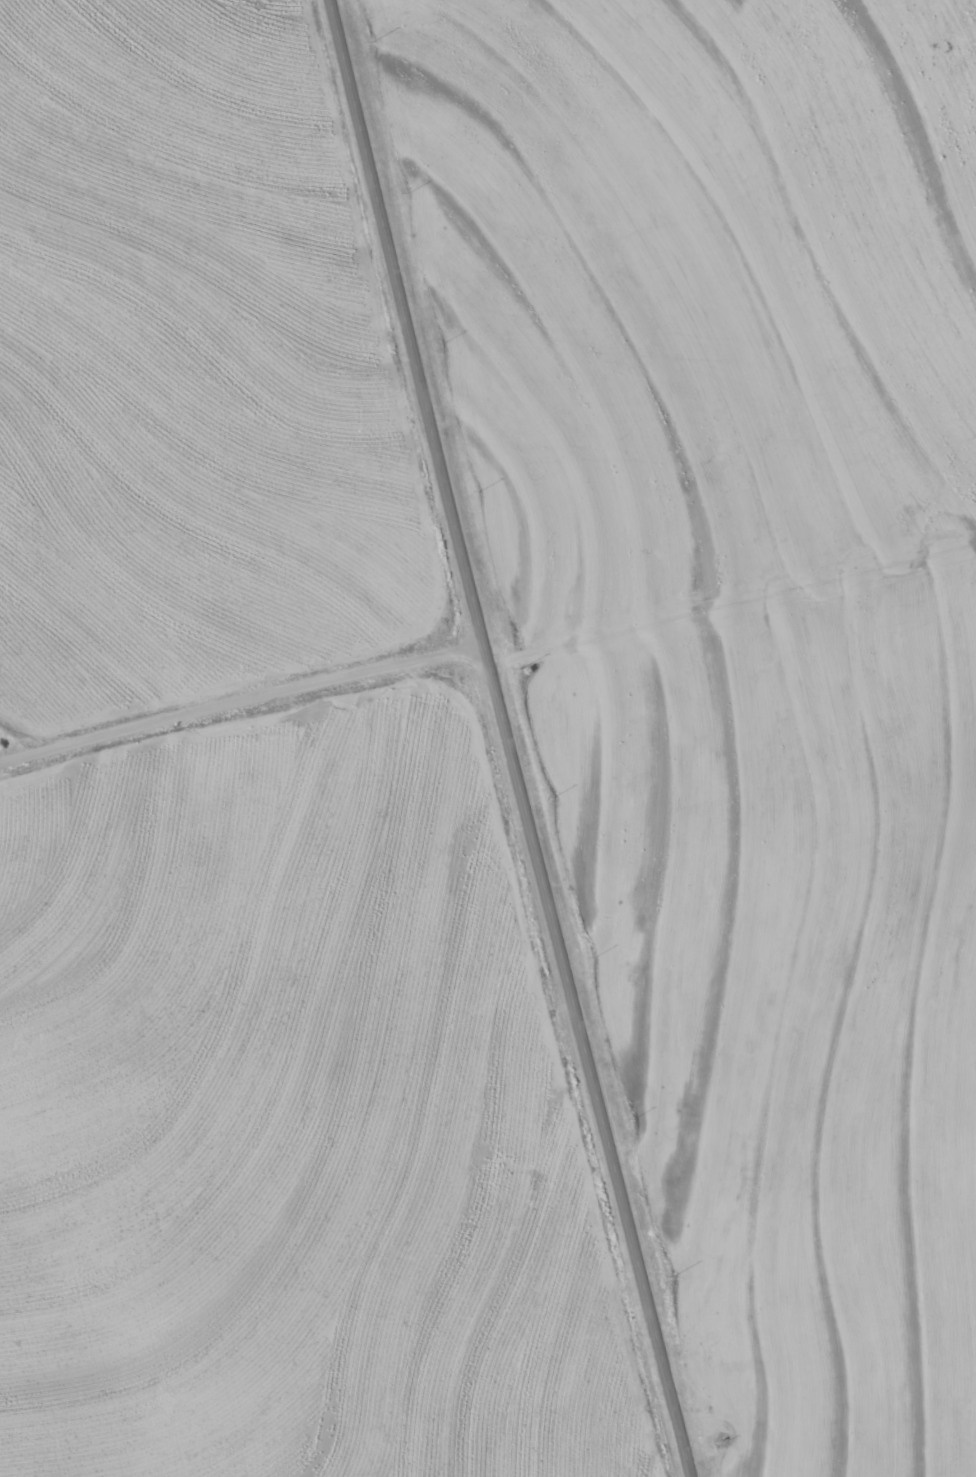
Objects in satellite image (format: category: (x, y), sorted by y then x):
road: (733, 623)
road: (241, 694)
road: (506, 739)

